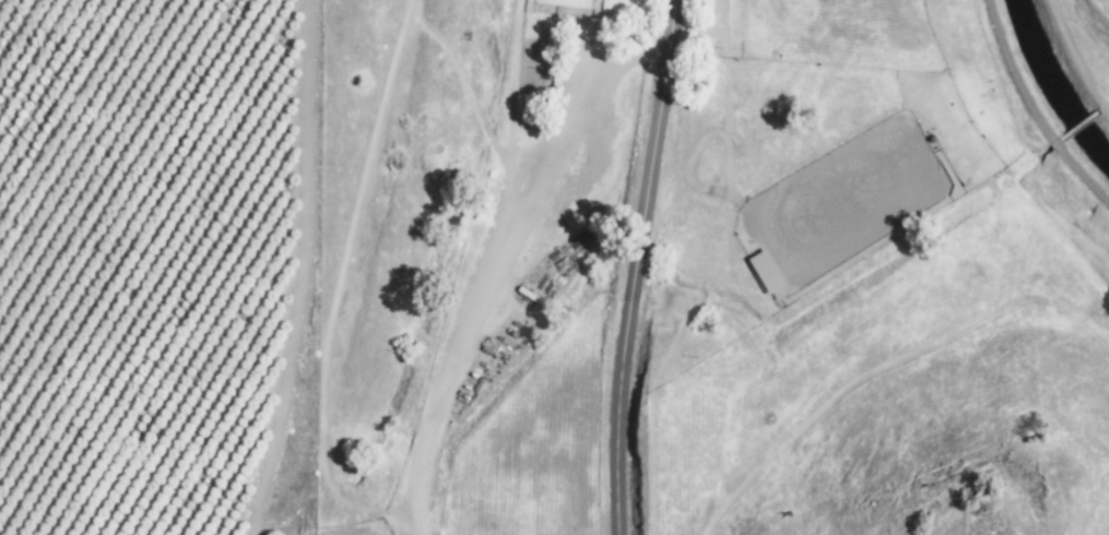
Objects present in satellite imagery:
road: (1007, 143)
road: (488, 261)
road: (636, 266)
building: (764, 269)
road: (270, 515)

